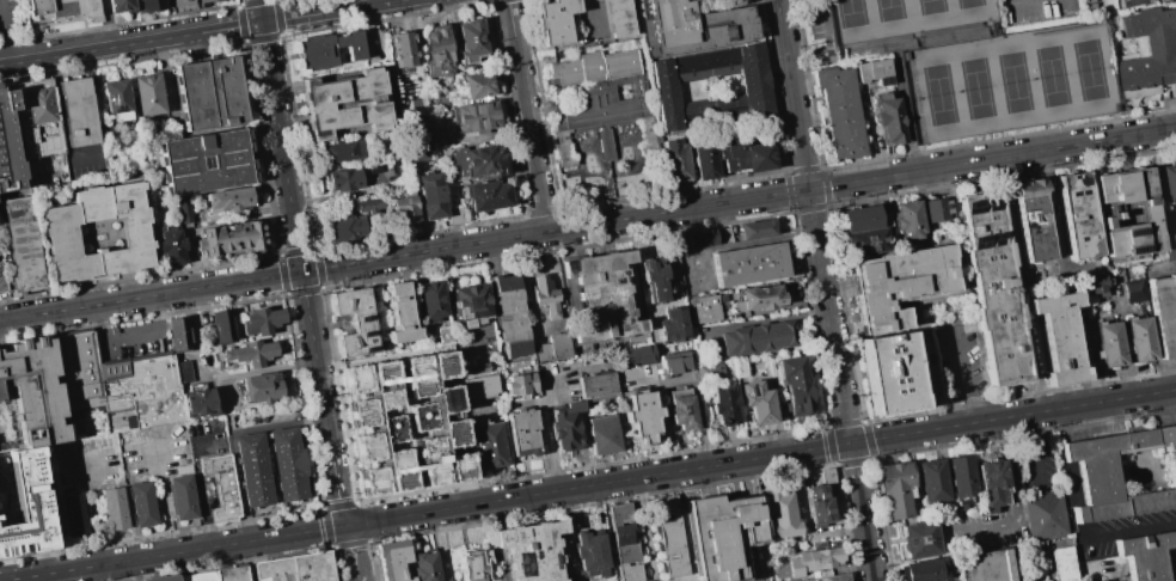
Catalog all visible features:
building: (590, 0)
building: (594, 0)
building: (1123, 0)
building: (207, 1)
building: (737, 1)
building: (182, 2)
road: (1017, 2)
park: (968, 4)
building: (1089, 4)
building: (120, 5)
building: (153, 5)
park: (929, 7)
building: (65, 10)
road: (257, 10)
park: (887, 10)
park: (850, 13)
parking lot: (10, 18)
building: (618, 19)
building: (556, 20)
building: (690, 27)
road: (192, 31)
road: (256, 37)
road: (2, 41)
building: (471, 41)
building: (350, 44)
building: (403, 49)
building: (313, 51)
building: (437, 53)
building: (1147, 53)
building: (978, 65)
parking lot: (978, 65)
park: (1089, 71)
building: (874, 72)
park: (1051, 77)
park: (1012, 82)
building: (478, 86)
building: (755, 88)
park: (975, 88)
building: (209, 92)
building: (147, 94)
building: (600, 94)
park: (937, 96)
building: (116, 99)
building: (345, 104)
building: (78, 112)
building: (840, 112)
road: (526, 115)
building: (37, 117)
building: (470, 118)
building: (888, 118)
building: (8, 146)
building: (343, 151)
building: (746, 157)
building: (206, 161)
building: (479, 161)
building: (676, 161)
building: (705, 161)
building: (359, 177)
road: (860, 181)
building: (1169, 182)
traffic signals: (808, 189)
building: (488, 196)
building: (430, 198)
building: (229, 200)
rooftop solar panel: (987, 203)
building: (367, 206)
rooftop solar panel: (972, 207)
building: (404, 208)
building: (183, 209)
building: (937, 209)
building: (1128, 213)
building: (1078, 215)
building: (909, 220)
rooftop solar panel: (1030, 220)
road: (813, 221)
building: (1033, 221)
building: (345, 228)
building: (757, 230)
road: (294, 231)
building: (864, 232)
building: (60, 237)
building: (232, 238)
rooftop solar panel: (992, 239)
building: (696, 240)
rooftop solar panel: (979, 241)
building: (22, 246)
building: (1170, 246)
building: (171, 247)
building: (748, 264)
traffic signals: (301, 271)
road: (272, 276)
building: (653, 281)
building: (1097, 283)
building: (899, 286)
parking lot: (1, 287)
building: (994, 290)
building: (1134, 290)
building: (545, 298)
building: (599, 298)
building: (757, 298)
building: (431, 300)
building: (470, 302)
building: (704, 310)
building: (1164, 313)
building: (402, 316)
building: (510, 317)
building: (261, 320)
building: (355, 323)
building: (673, 324)
building: (222, 328)
building: (179, 334)
building: (442, 335)
road: (128, 337)
building: (758, 338)
building: (1060, 338)
building: (1140, 340)
building: (1110, 344)
building: (553, 348)
building: (247, 353)
building: (638, 355)
building: (673, 363)
building: (183, 372)
building: (709, 374)
building: (888, 374)
road: (963, 377)
building: (477, 381)
building: (120, 383)
building: (519, 385)
building: (598, 386)
building: (796, 386)
building: (262, 389)
building: (31, 396)
building: (198, 403)
building: (758, 403)
building: (724, 406)
building: (681, 410)
road: (1012, 416)
building: (643, 417)
building: (439, 424)
road: (277, 426)
building: (566, 426)
road: (545, 433)
building: (522, 434)
building: (604, 435)
building: (489, 444)
traffic signals: (850, 444)
road: (1036, 448)
building: (288, 464)
road: (853, 467)
road: (1007, 469)
building: (253, 470)
road: (1062, 475)
building: (1095, 475)
road: (945, 479)
building: (960, 479)
building: (829, 481)
building: (931, 482)
road: (336, 484)
building: (990, 484)
building: (221, 487)
road: (239, 488)
building: (894, 489)
road: (200, 493)
building: (183, 497)
road: (160, 501)
building: (23, 503)
building: (142, 504)
building: (821, 506)
building: (112, 508)
road: (93, 509)
road: (427, 512)
building: (780, 513)
building: (1043, 514)
building: (72, 515)
road: (984, 525)
traffic signals: (345, 526)
road: (1125, 532)
building: (719, 534)
building: (1175, 534)
building: (669, 536)
road: (866, 537)
building: (919, 538)
building: (624, 542)
road: (360, 548)
building: (528, 550)
road: (343, 551)
building: (590, 554)
building: (1143, 555)
building: (391, 559)
building: (814, 559)
building: (1061, 563)
building: (423, 564)
building: (472, 564)
building: (985, 565)
building: (296, 568)
building: (921, 570)
building: (231, 574)
building: (198, 576)
road: (356, 577)
building: (834, 577)
building: (167, 579)
building: (1045, 580)
building: (1048, 580)
building: (1113, 580)

